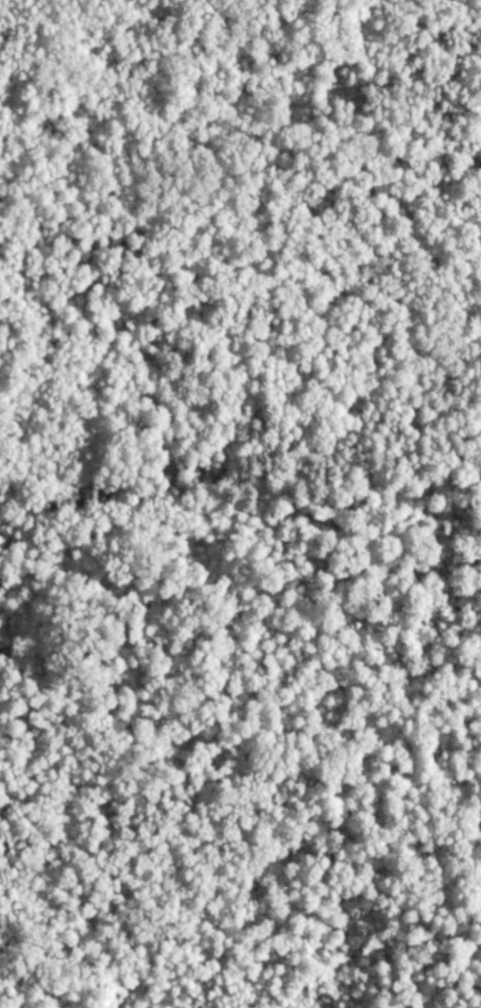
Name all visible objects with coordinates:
park: (240, 504)

